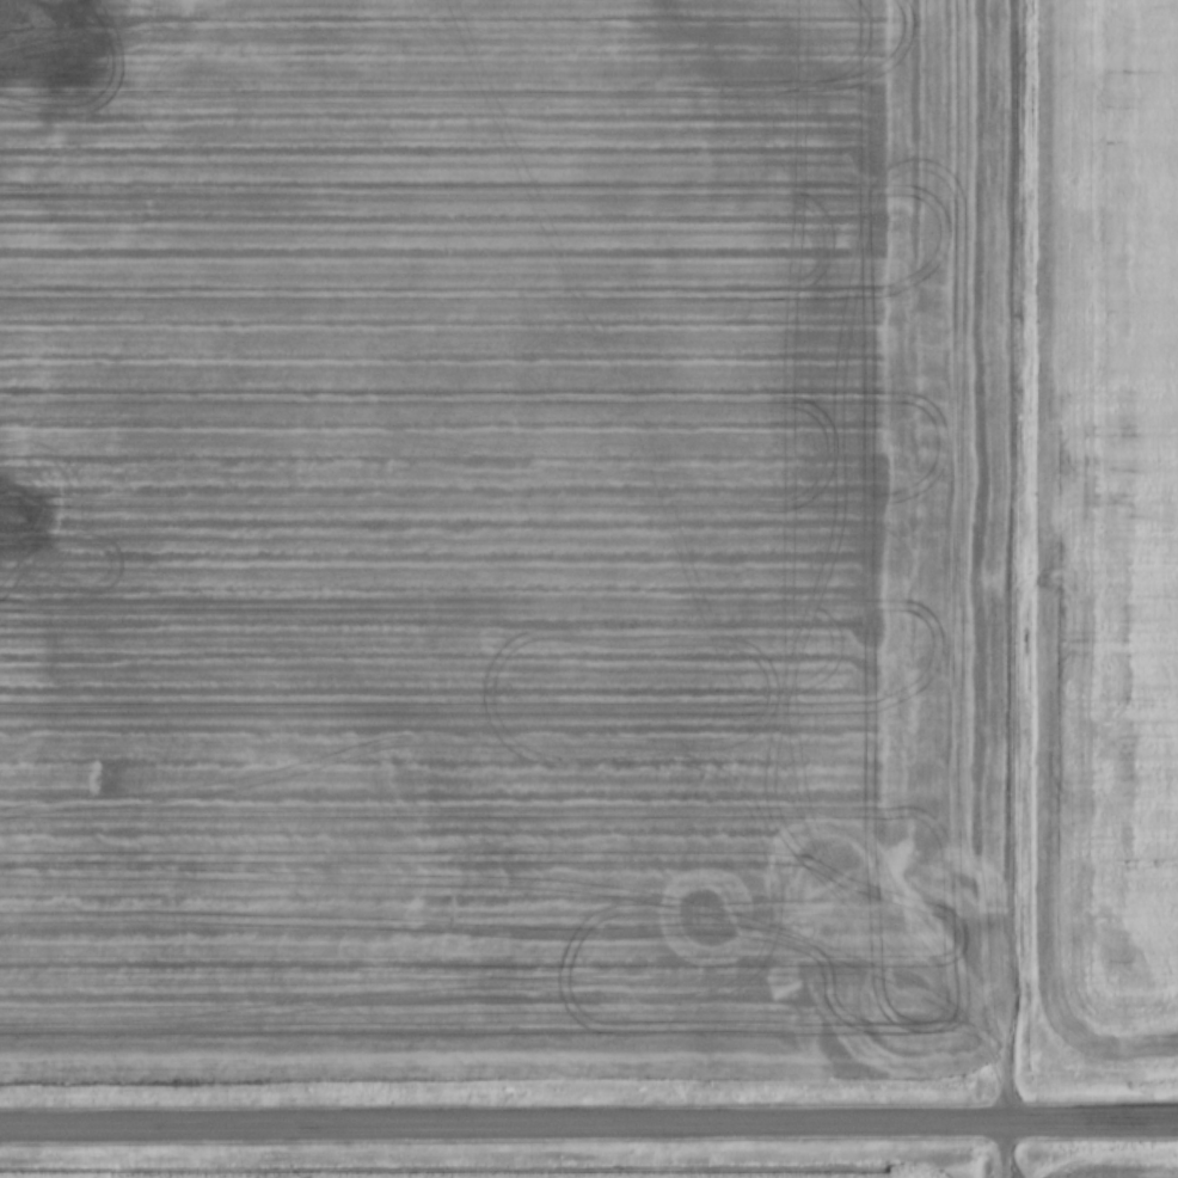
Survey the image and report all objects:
road: (588, 1125)
road: (1002, 1151)

